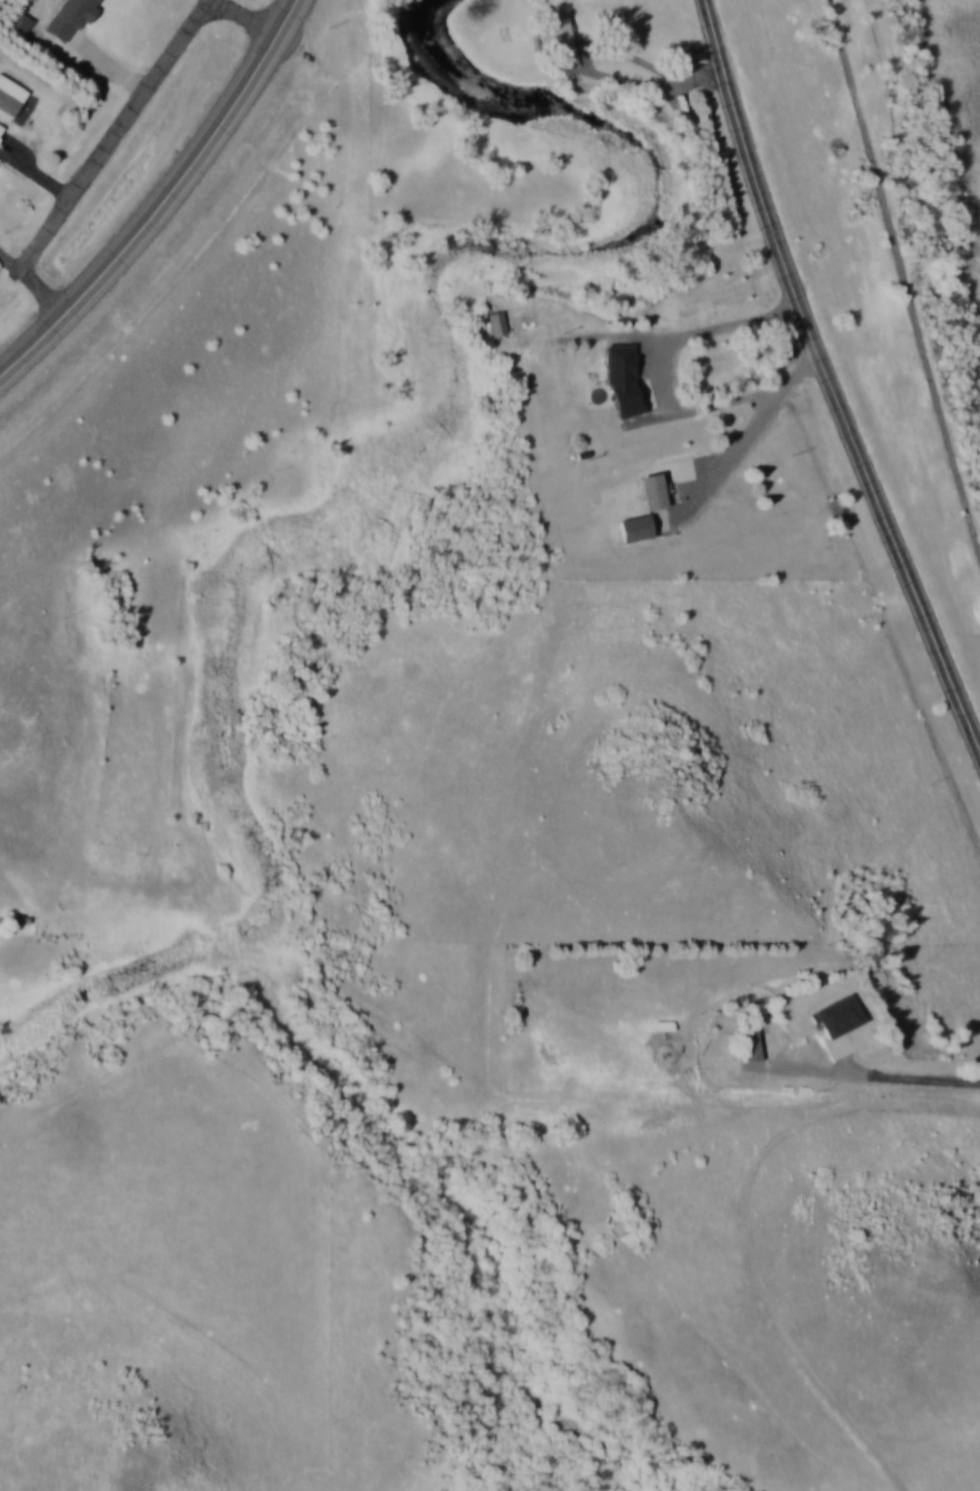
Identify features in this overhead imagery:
building: (69, 16)
building: (18, 22)
building: (558, 40)
building: (8, 103)
building: (2, 129)
road: (118, 129)
road: (162, 200)
railway: (903, 273)
building: (496, 323)
road: (689, 332)
building: (612, 372)
road: (830, 381)
road: (751, 428)
building: (652, 489)
building: (635, 526)
building: (836, 1015)
building: (751, 1040)

